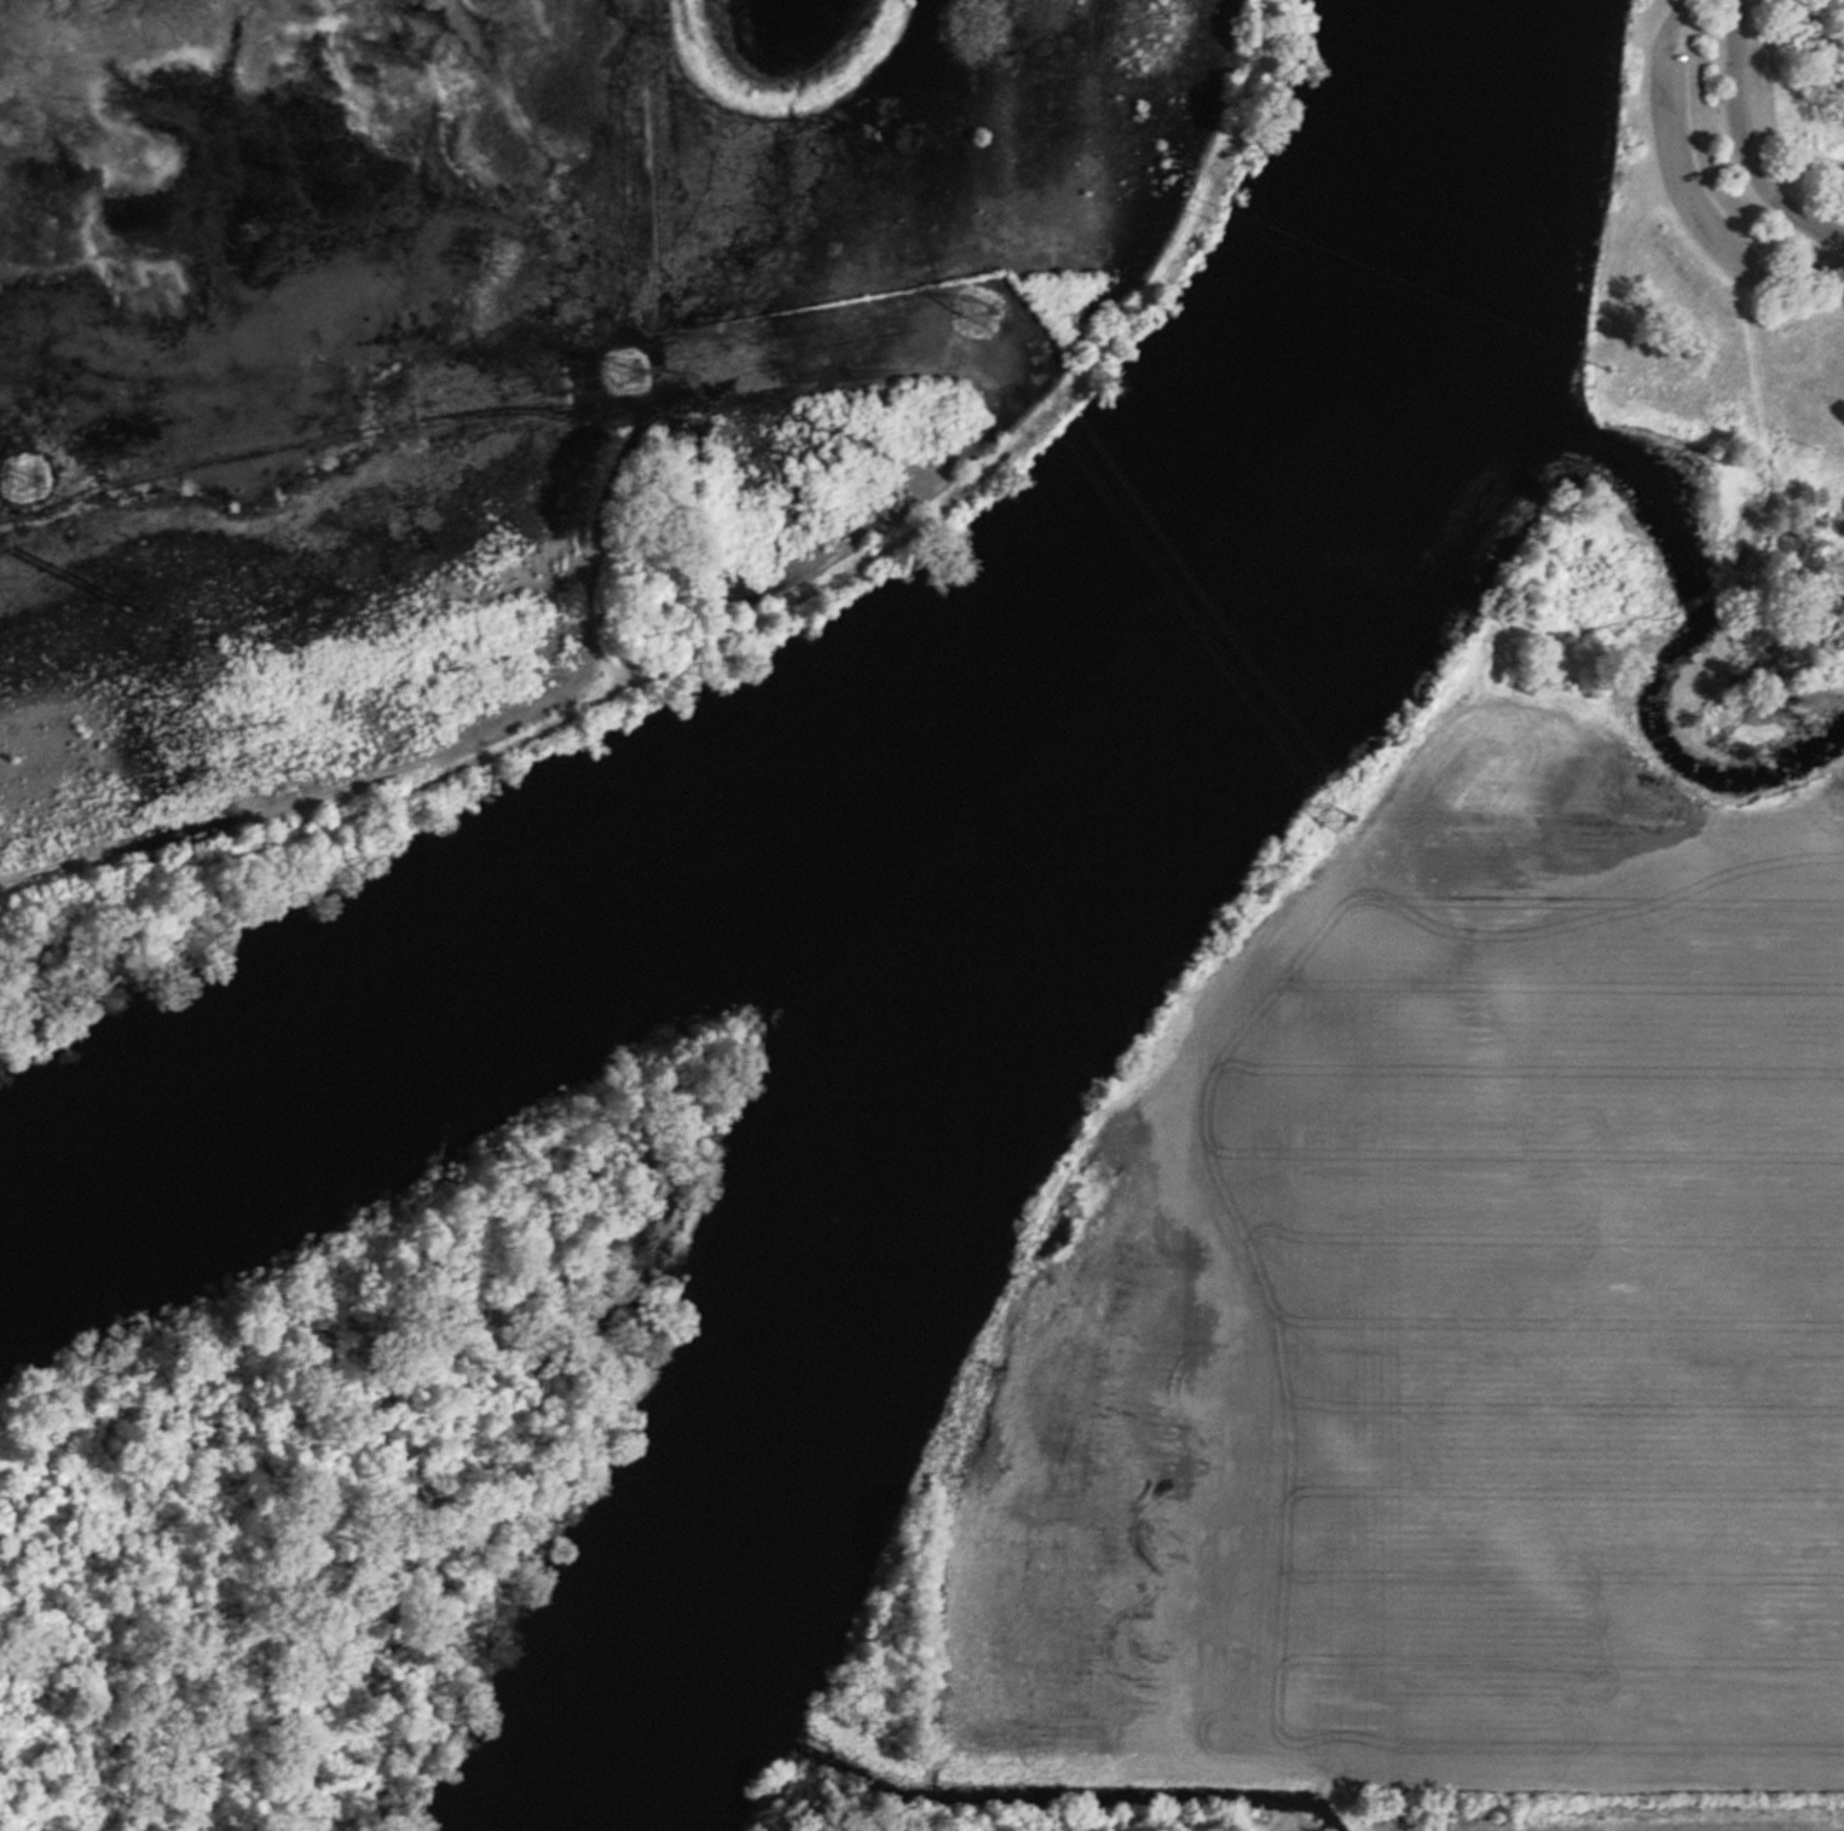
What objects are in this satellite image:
road: (1678, 11)
road: (1741, 145)
parking lot: (1690, 169)
road: (1680, 171)
road: (1809, 267)
power tower: (978, 311)
power tower: (626, 372)
park: (1717, 381)
river: (1325, 444)
power tower: (23, 479)
power tower: (1333, 819)
river: (498, 1007)
river: (828, 1340)

